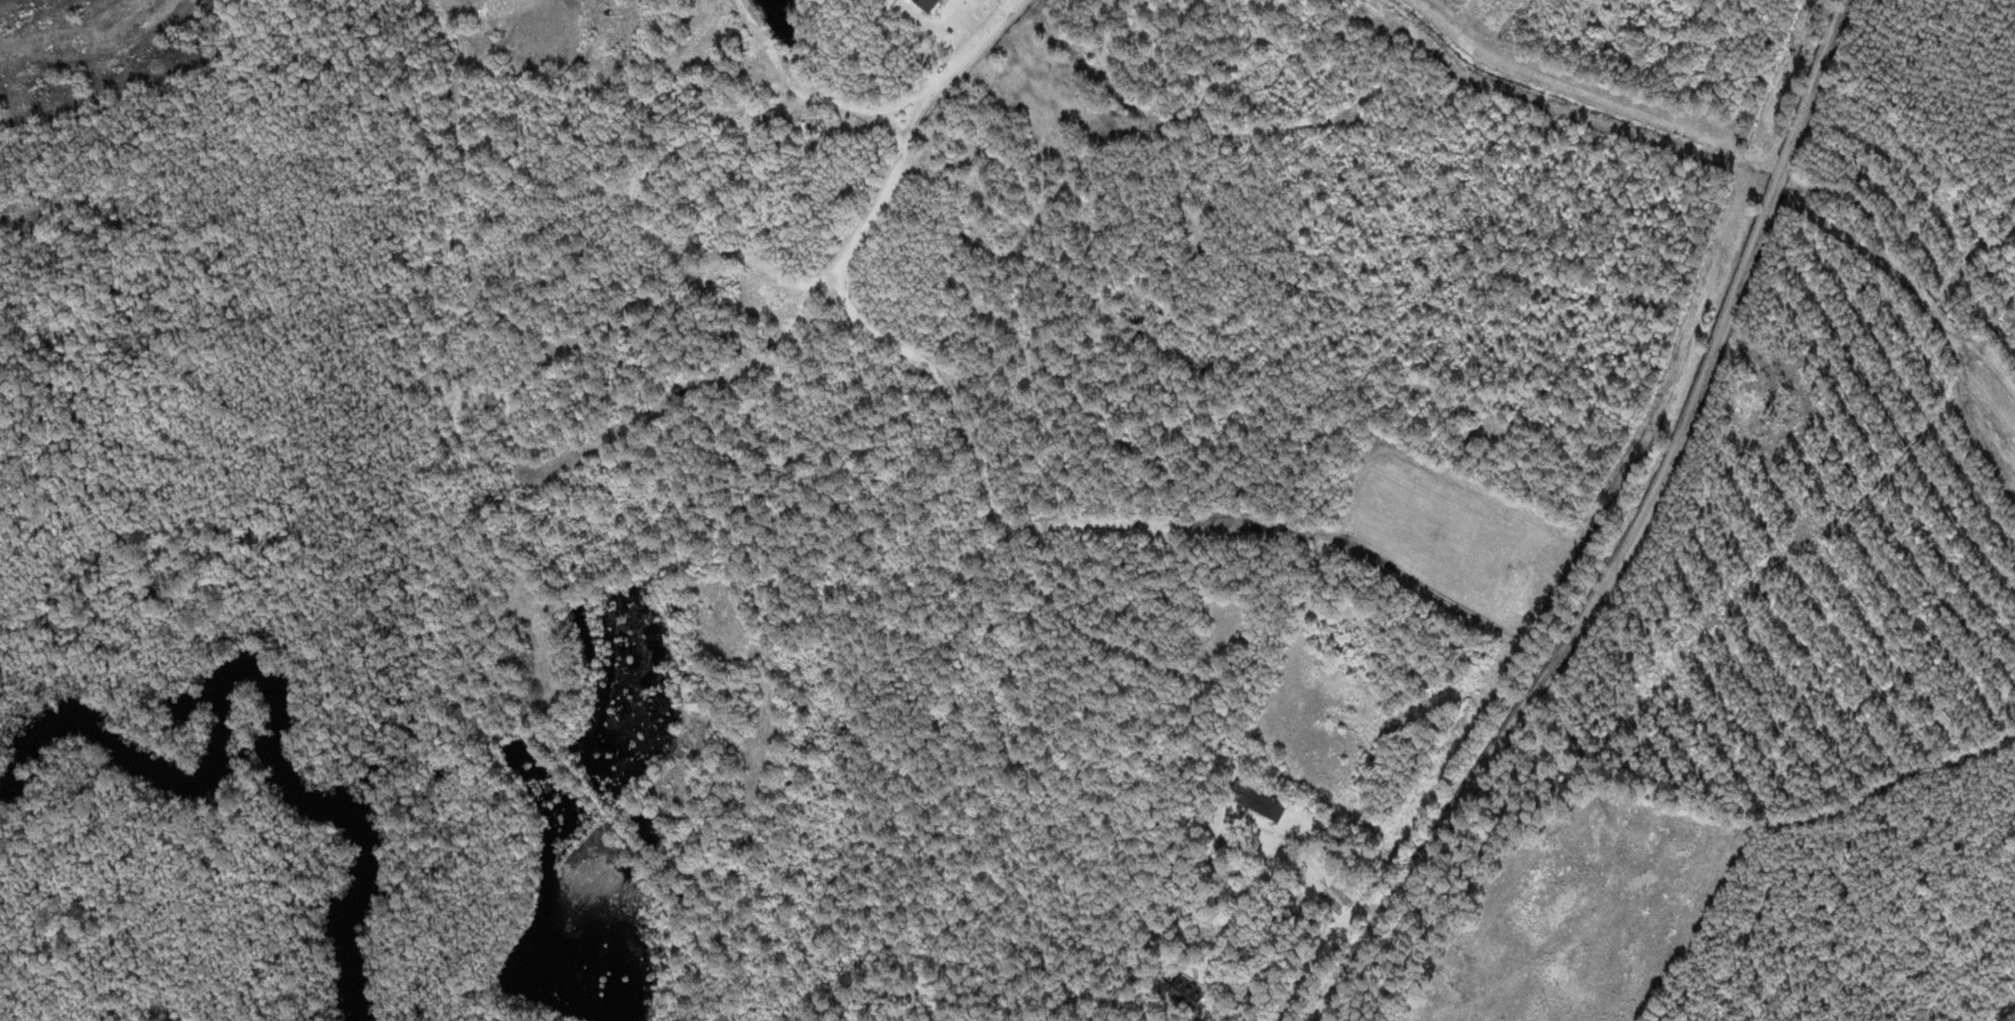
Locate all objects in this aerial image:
building: (923, 4)
building: (770, 113)
road: (1630, 538)
building: (1256, 799)
building: (1178, 991)

